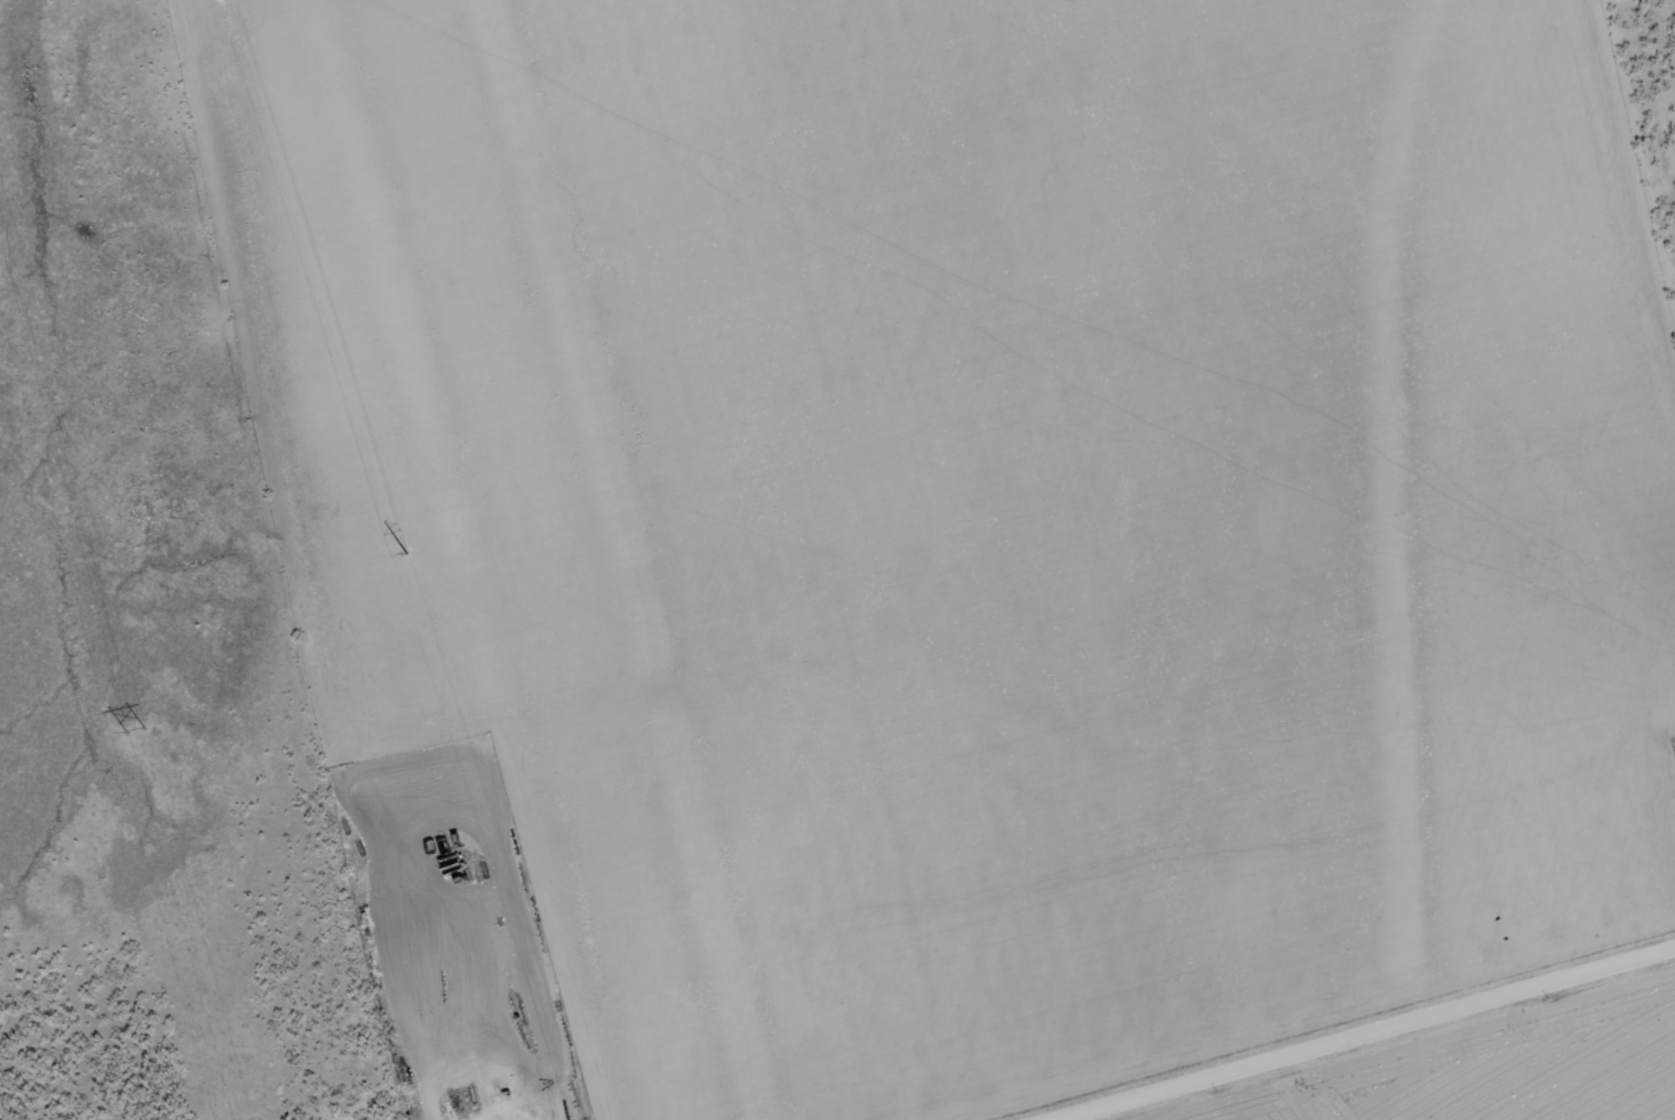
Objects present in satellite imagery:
power tower: (407, 554)
power tower: (138, 729)
road: (1356, 1032)

